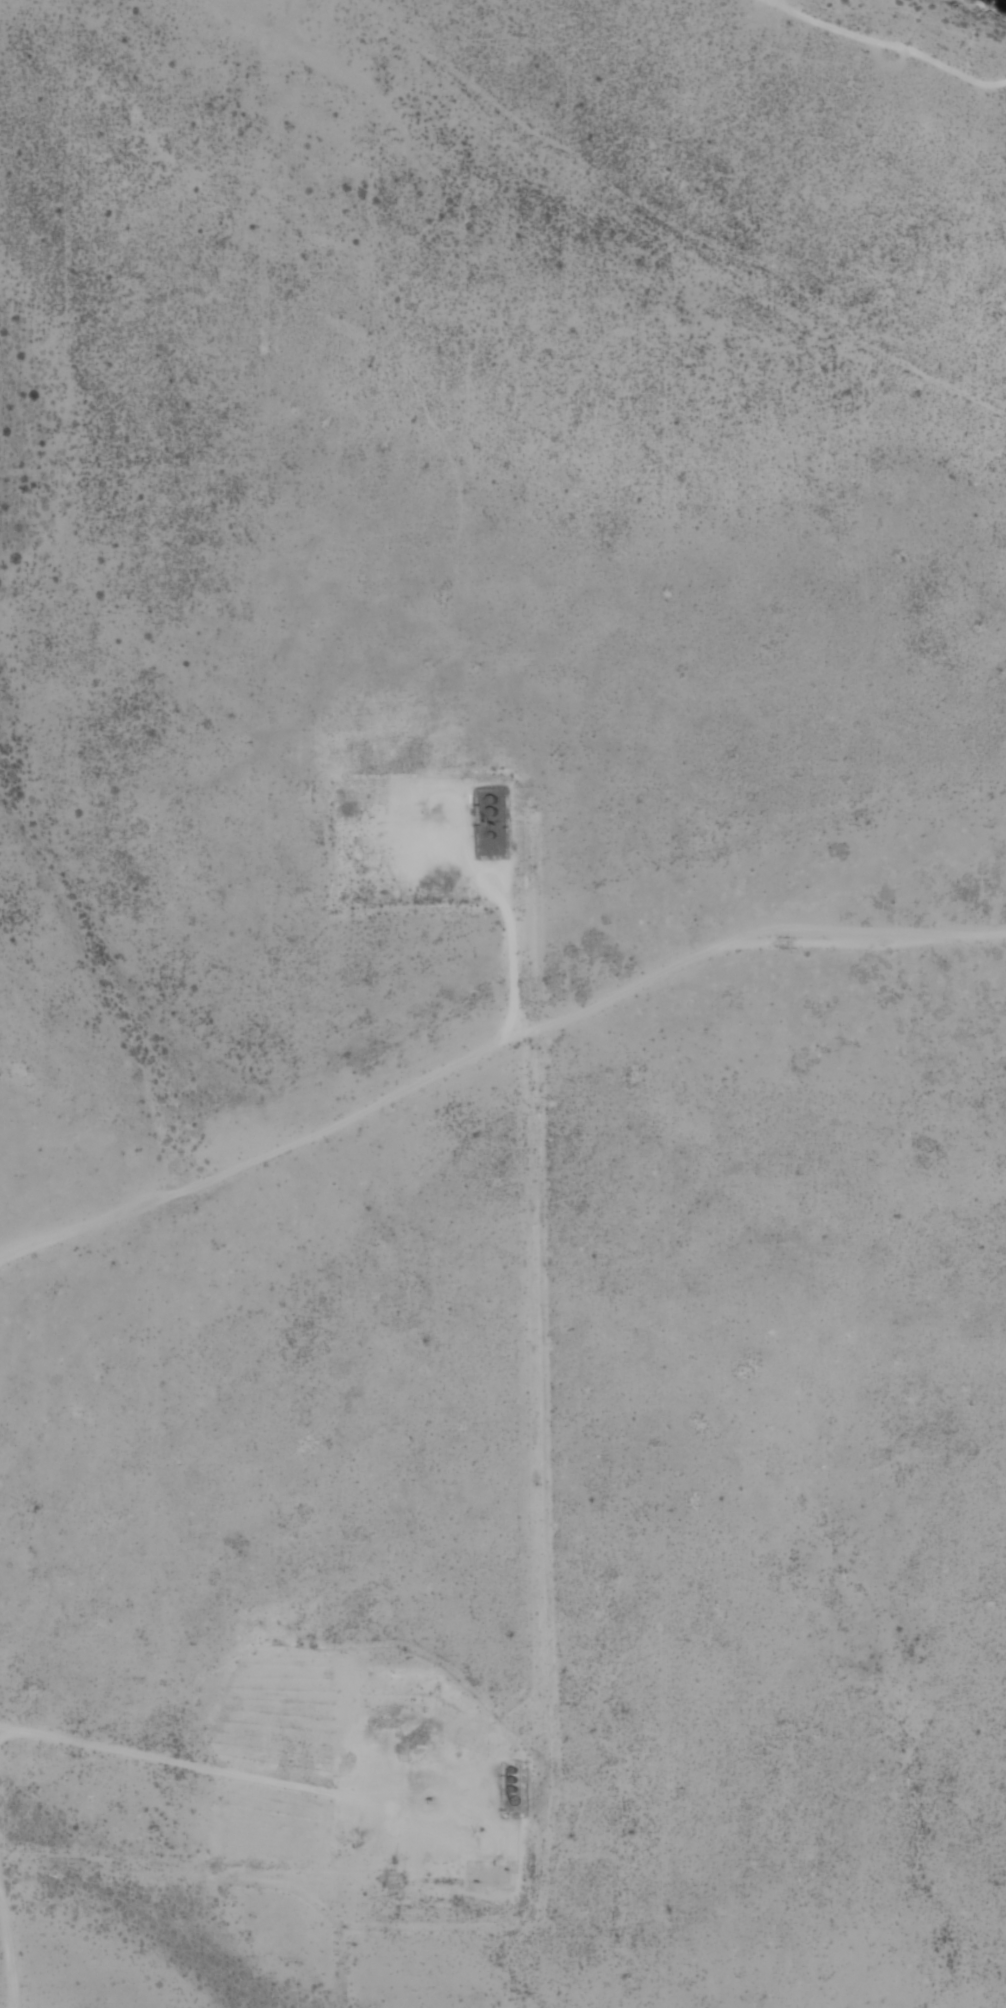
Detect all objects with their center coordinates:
road: (882, 43)
road: (504, 893)
road: (492, 1050)
road: (167, 1760)
road: (7, 1955)

